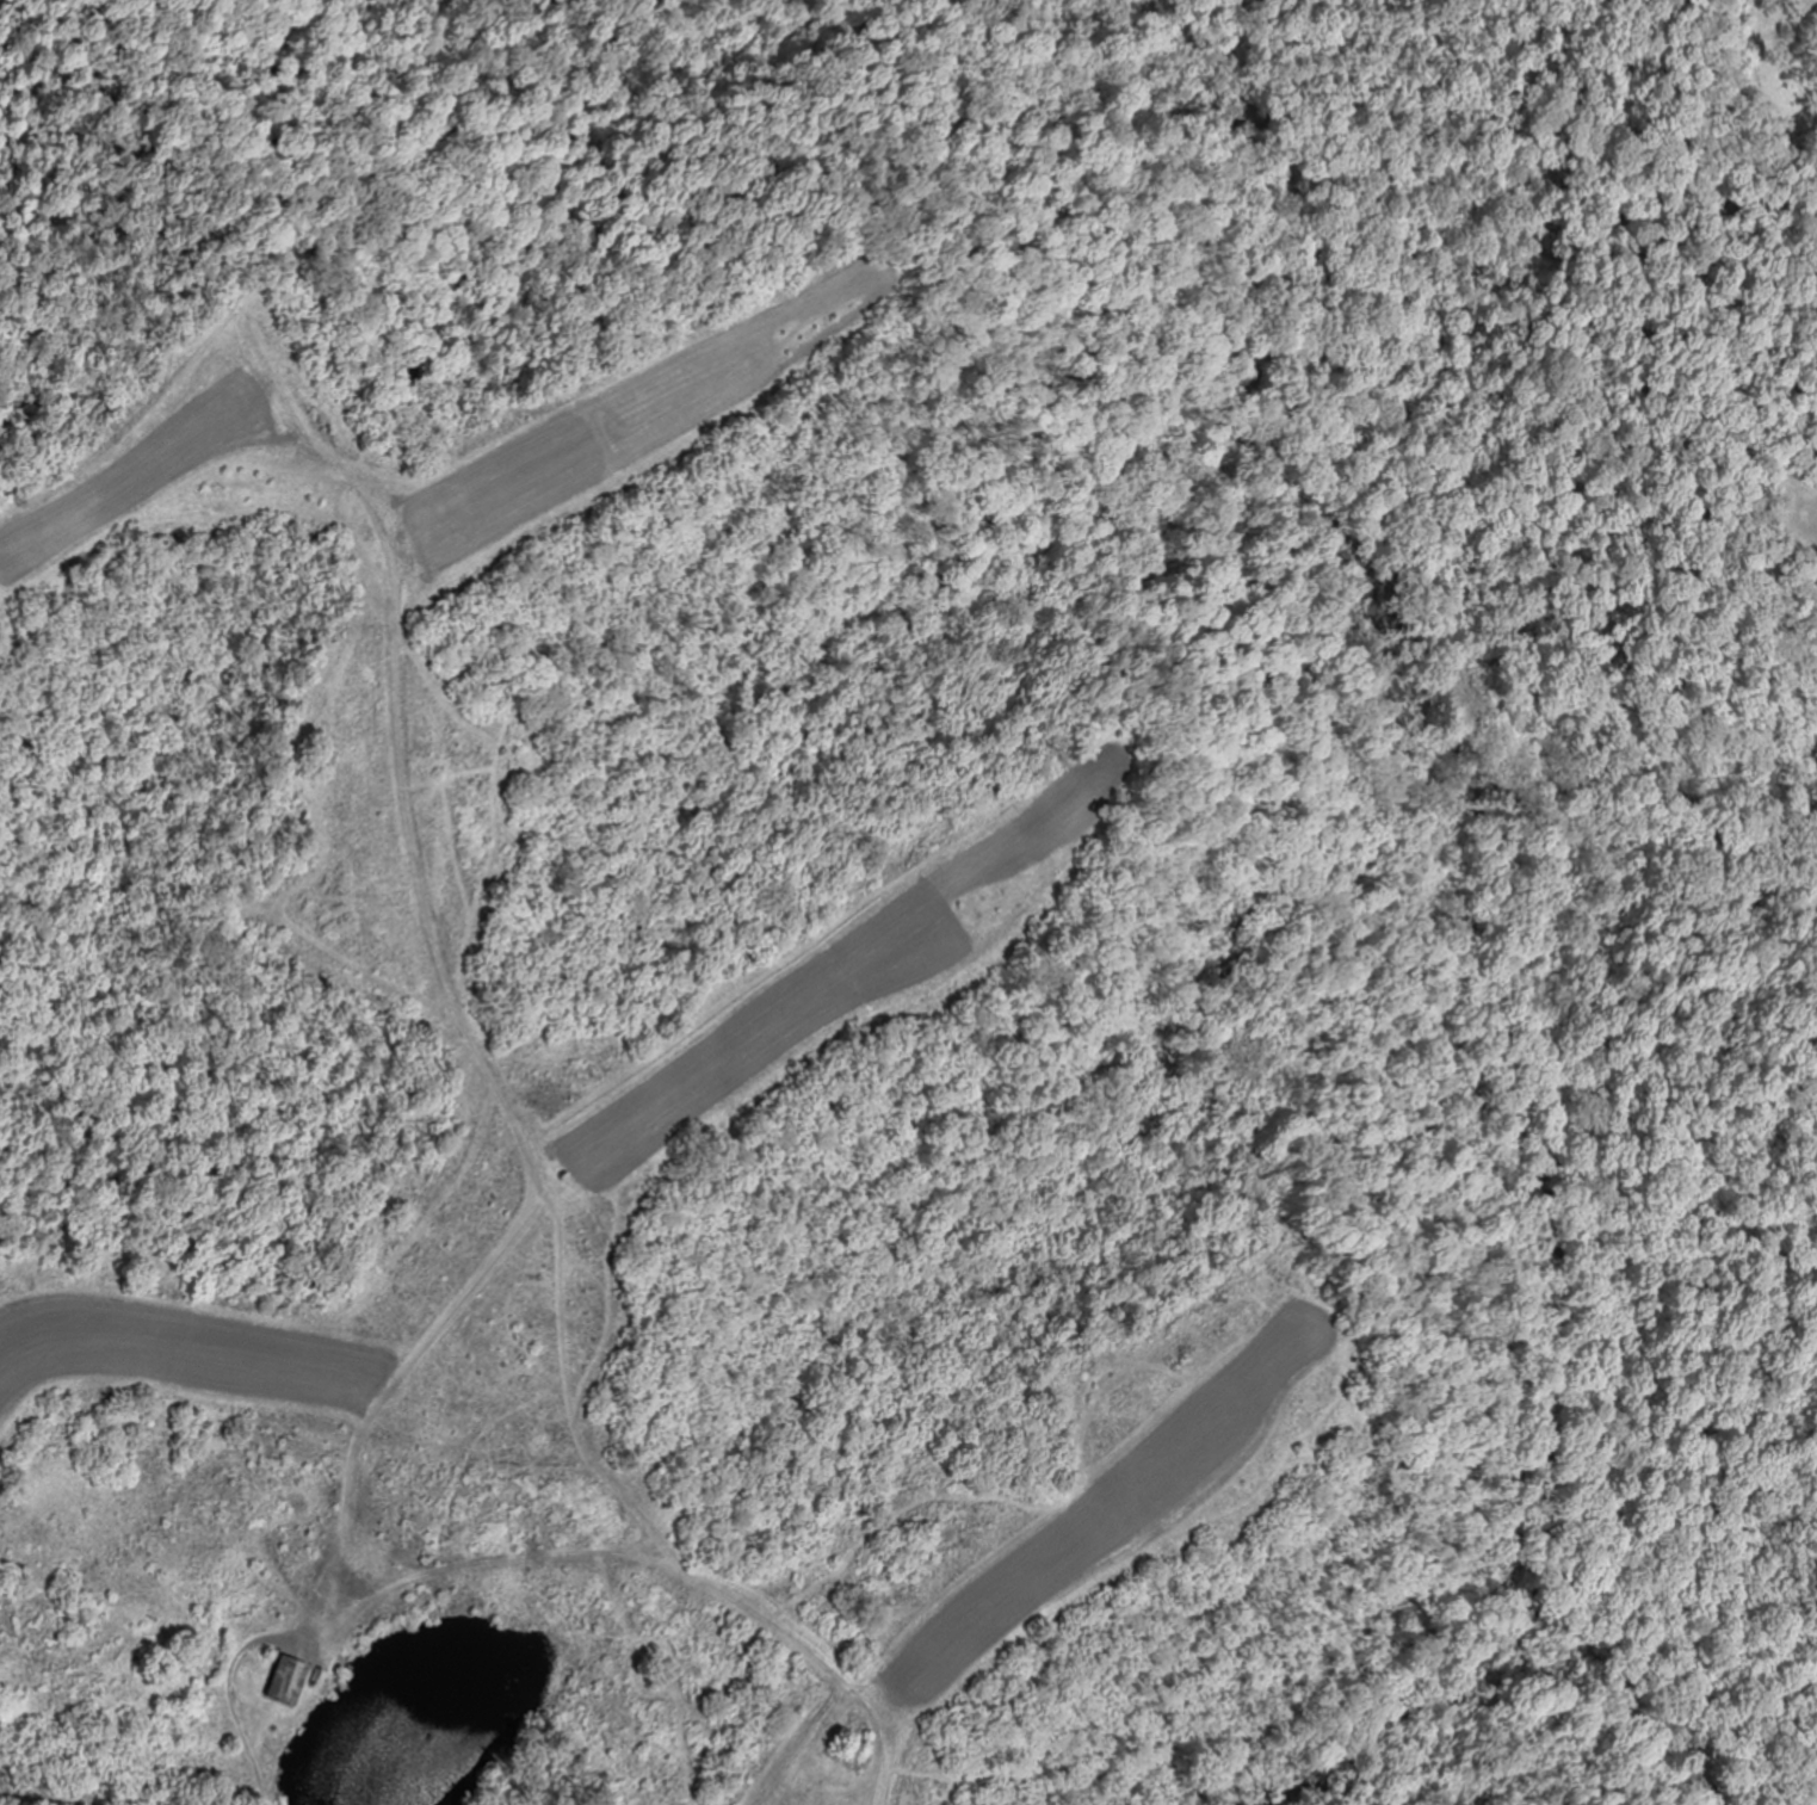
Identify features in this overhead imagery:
building: (292, 1681)

